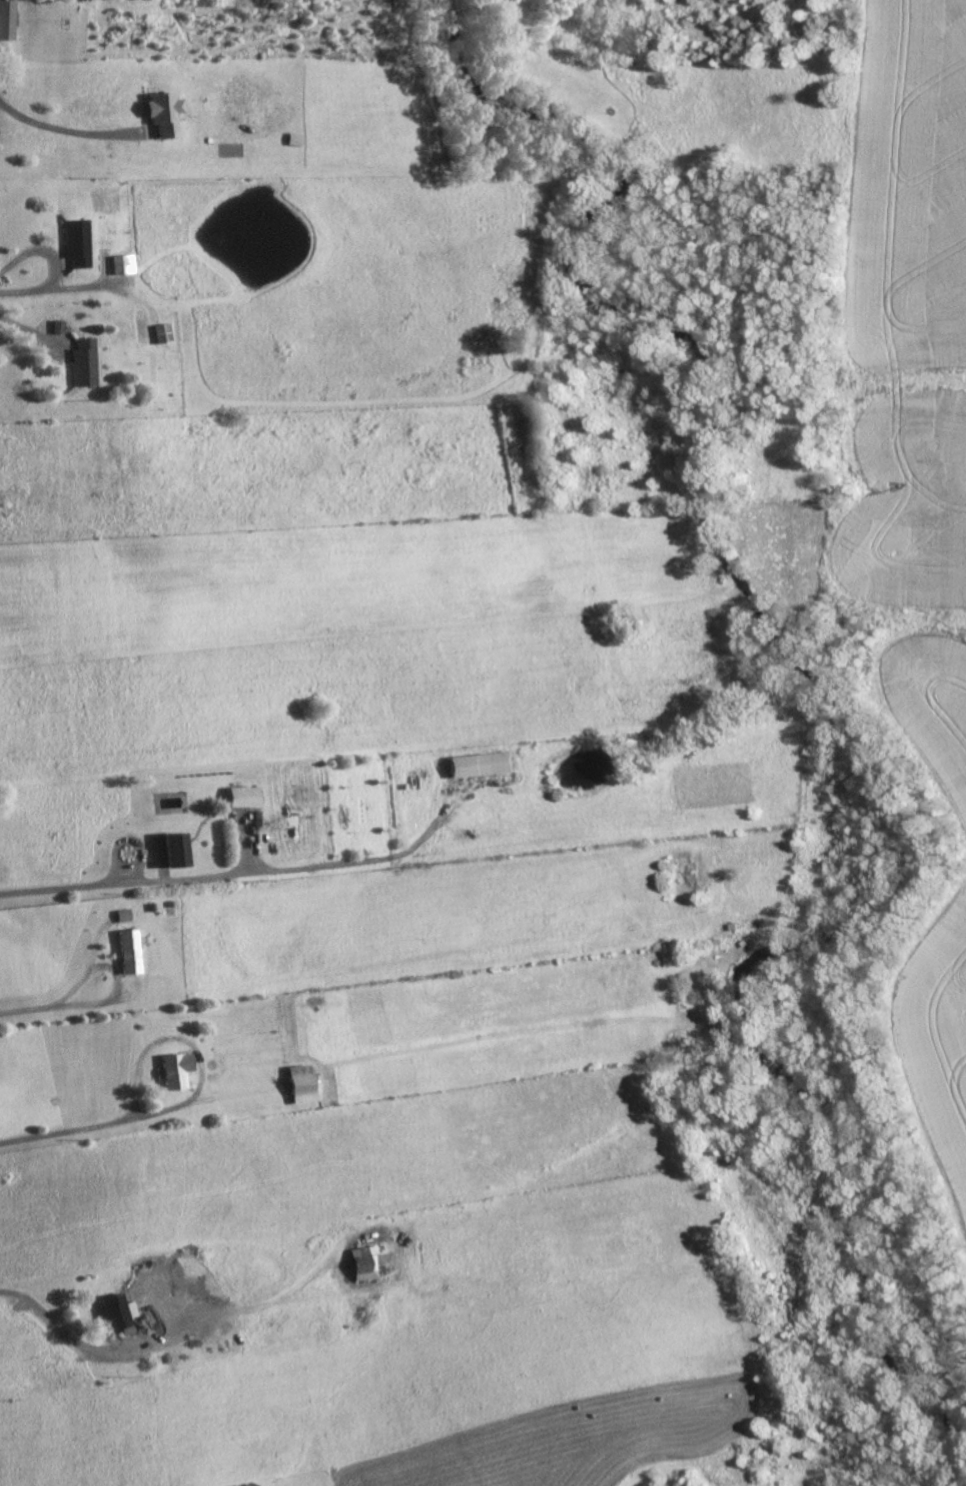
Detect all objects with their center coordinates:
building: (6, 19)
building: (158, 112)
road: (68, 130)
building: (78, 242)
road: (39, 252)
building: (121, 264)
road: (60, 287)
building: (59, 327)
road: (33, 330)
building: (86, 363)
building: (479, 765)
building: (239, 797)
building: (167, 850)
road: (273, 870)
building: (128, 952)
road: (124, 980)
road: (31, 1011)
road: (198, 1047)
building: (173, 1070)
building: (296, 1085)
road: (66, 1135)
road: (337, 1246)
building: (361, 1262)
building: (115, 1311)
road: (96, 1352)

